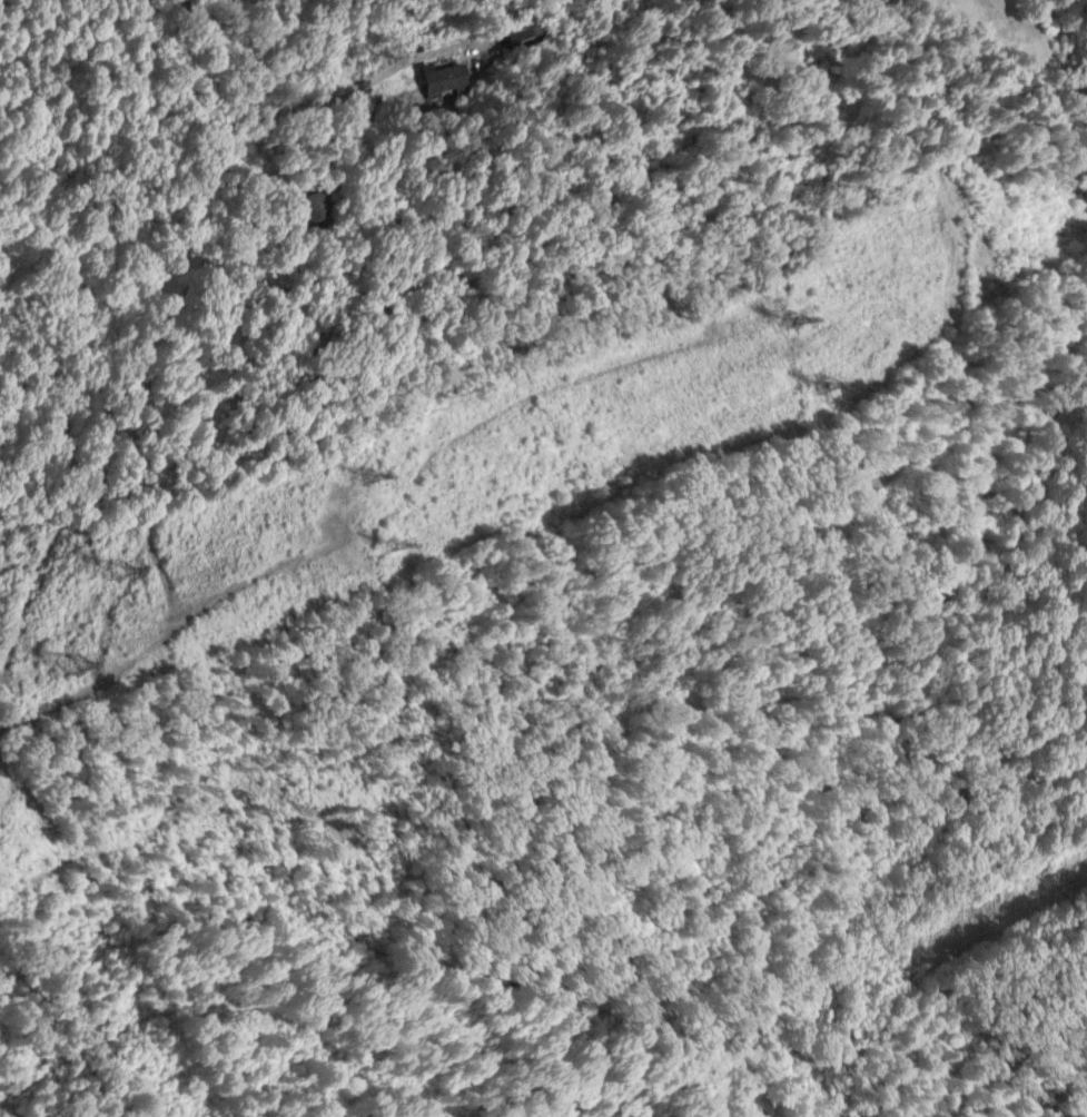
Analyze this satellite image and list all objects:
building: (443, 77)
building: (305, 202)
power tower: (790, 319)
power tower: (827, 387)
power tower: (372, 476)
power tower: (393, 546)
power tower: (119, 567)
power tower: (76, 670)

